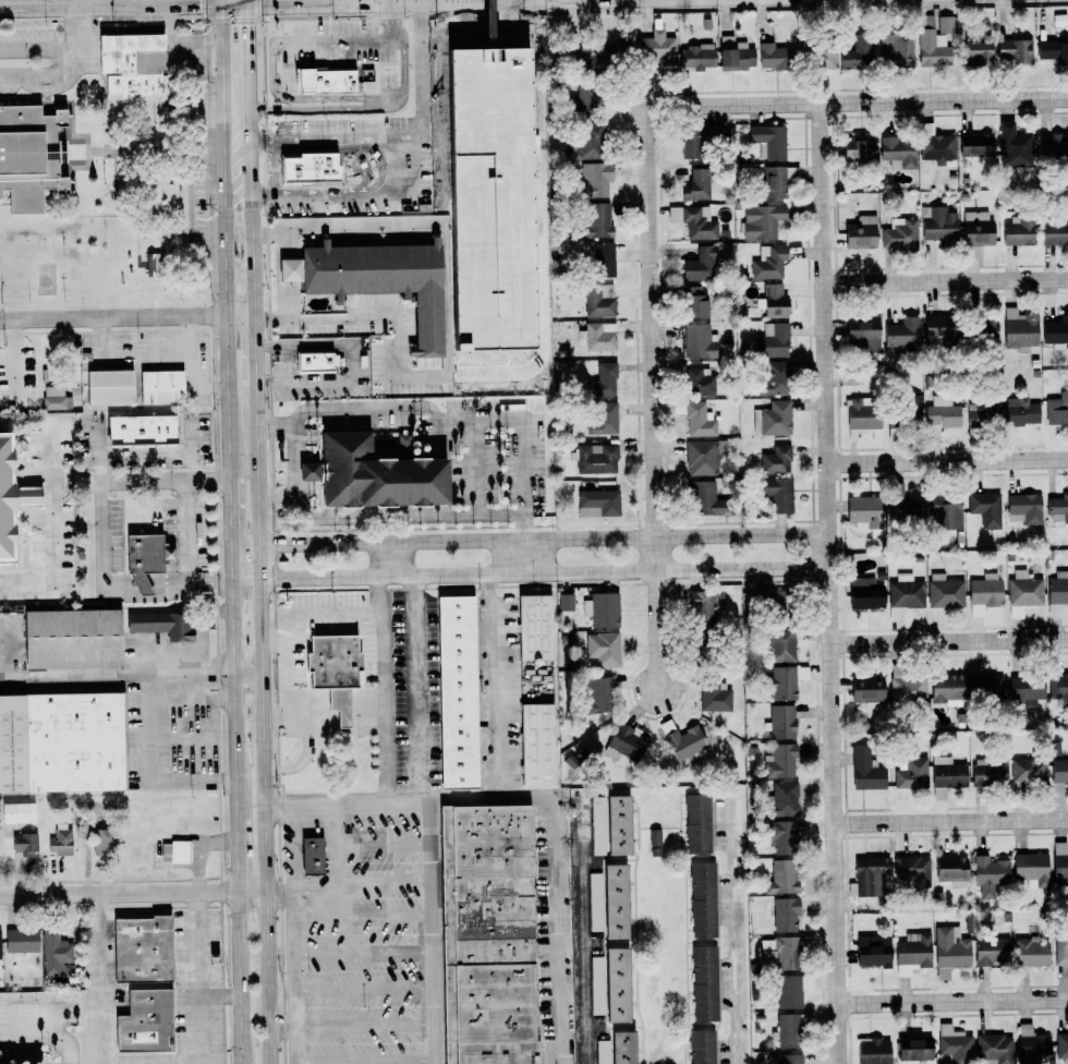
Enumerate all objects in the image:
road: (44, 0)
road: (389, 19)
building: (945, 24)
road: (339, 38)
road: (250, 39)
building: (658, 48)
road: (40, 49)
building: (488, 49)
building: (1046, 49)
building: (895, 50)
building: (1015, 50)
building: (976, 51)
building: (736, 52)
building: (1063, 52)
building: (857, 53)
building: (823, 56)
building: (696, 57)
building: (774, 57)
building: (132, 64)
road: (404, 66)
road: (71, 68)
road: (271, 76)
building: (325, 81)
road: (226, 98)
building: (584, 99)
road: (857, 100)
road: (328, 108)
road: (251, 137)
road: (401, 141)
building: (590, 141)
building: (768, 142)
building: (691, 143)
building: (974, 145)
building: (1053, 145)
building: (936, 146)
building: (858, 148)
building: (1015, 149)
building: (898, 152)
building: (28, 156)
road: (275, 167)
building: (307, 167)
building: (595, 179)
building: (696, 184)
road: (329, 195)
building: (599, 220)
building: (695, 221)
building: (762, 221)
building: (938, 223)
building: (976, 228)
building: (1055, 230)
building: (1019, 231)
building: (861, 233)
building: (900, 234)
road: (253, 255)
building: (604, 259)
building: (769, 263)
building: (153, 265)
building: (701, 265)
road: (946, 278)
building: (376, 280)
road: (292, 282)
building: (774, 301)
building: (695, 302)
building: (597, 303)
road: (126, 317)
building: (938, 327)
building: (1020, 329)
building: (986, 330)
building: (1056, 330)
building: (902, 334)
building: (861, 335)
road: (229, 337)
building: (598, 337)
building: (699, 341)
building: (772, 341)
road: (255, 350)
building: (313, 362)
building: (773, 377)
building: (693, 379)
building: (603, 380)
building: (108, 387)
building: (160, 387)
road: (651, 396)
building: (54, 398)
building: (678, 408)
building: (911, 408)
building: (1057, 409)
building: (983, 411)
building: (1012, 411)
building: (942, 412)
building: (862, 415)
road: (442, 418)
building: (603, 418)
building: (773, 419)
building: (699, 421)
building: (139, 431)
building: (595, 458)
building: (701, 458)
building: (776, 460)
road: (947, 460)
road: (257, 463)
road: (294, 473)
building: (373, 475)
road: (117, 482)
road: (473, 489)
building: (777, 494)
building: (26, 496)
building: (704, 499)
building: (3, 501)
building: (598, 503)
building: (903, 505)
building: (1058, 506)
building: (944, 509)
building: (986, 509)
building: (1024, 509)
building: (862, 510)
road: (375, 519)
road: (233, 529)
road: (189, 530)
road: (380, 530)
road: (57, 534)
road: (604, 536)
road: (319, 542)
road: (246, 543)
road: (381, 558)
building: (144, 560)
road: (259, 560)
road: (605, 571)
road: (321, 577)
road: (247, 578)
road: (211, 579)
road: (145, 581)
road: (828, 582)
building: (984, 590)
building: (1024, 590)
building: (945, 593)
building: (1057, 593)
building: (865, 594)
building: (905, 595)
building: (772, 601)
building: (566, 602)
building: (702, 605)
building: (603, 609)
road: (324, 618)
building: (161, 624)
building: (534, 627)
building: (71, 638)
road: (948, 641)
building: (781, 643)
building: (604, 649)
building: (332, 669)
road: (250, 673)
road: (118, 674)
road: (491, 680)
building: (786, 680)
road: (287, 682)
building: (1058, 686)
building: (985, 687)
road: (385, 688)
building: (908, 689)
building: (947, 689)
building: (1025, 689)
building: (866, 690)
building: (460, 692)
building: (598, 694)
building: (715, 696)
road: (236, 699)
building: (781, 721)
building: (61, 741)
building: (627, 742)
building: (536, 743)
road: (307, 757)
building: (780, 761)
road: (150, 770)
building: (865, 770)
building: (1029, 771)
building: (1059, 771)
building: (988, 772)
building: (910, 773)
building: (946, 775)
building: (781, 799)
road: (279, 809)
building: (19, 812)
road: (266, 820)
road: (426, 820)
road: (950, 820)
building: (697, 823)
building: (610, 824)
building: (782, 836)
building: (60, 839)
building: (100, 842)
building: (655, 842)
building: (24, 843)
road: (339, 845)
building: (173, 850)
road: (293, 851)
road: (241, 855)
building: (311, 855)
building: (1059, 860)
road: (558, 866)
building: (1031, 867)
building: (912, 870)
building: (950, 870)
building: (990, 873)
building: (867, 874)
building: (782, 876)
road: (361, 884)
road: (255, 891)
road: (281, 891)
road: (120, 892)
building: (703, 899)
building: (615, 900)
building: (594, 902)
building: (785, 914)
road: (363, 919)
building: (486, 933)
road: (581, 933)
road: (737, 936)
building: (20, 940)
road: (105, 947)
building: (141, 948)
building: (950, 951)
building: (991, 951)
building: (0, 952)
building: (53, 952)
building: (779, 952)
building: (872, 952)
building: (1031, 952)
road: (363, 953)
building: (912, 953)
building: (65, 968)
road: (243, 977)
road: (199, 978)
building: (704, 982)
building: (616, 984)
building: (597, 986)
road: (365, 988)
building: (787, 991)
road: (222, 994)
road: (951, 1000)
building: (144, 1020)
road: (366, 1026)
road: (283, 1028)
building: (787, 1029)
road: (45, 1038)
road: (298, 1045)
building: (954, 1045)
building: (1032, 1045)
building: (702, 1047)
building: (1061, 1047)
building: (616, 1049)
building: (994, 1049)
building: (914, 1050)
building: (873, 1051)
road: (366, 1059)
building: (788, 1059)

